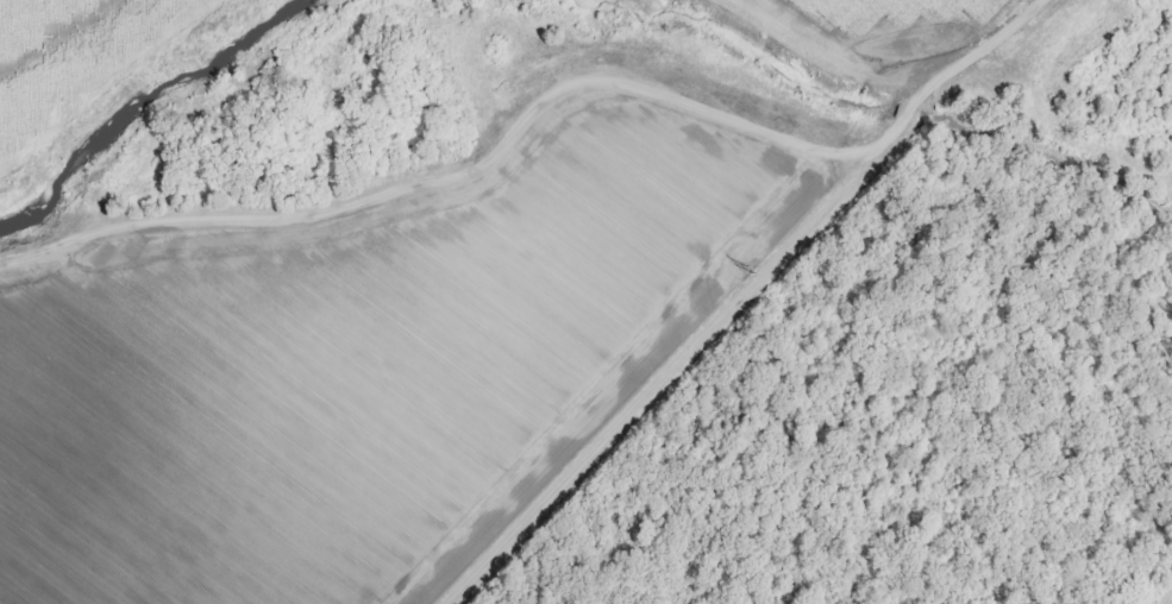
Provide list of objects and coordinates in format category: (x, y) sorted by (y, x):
power tower: (763, 287)

